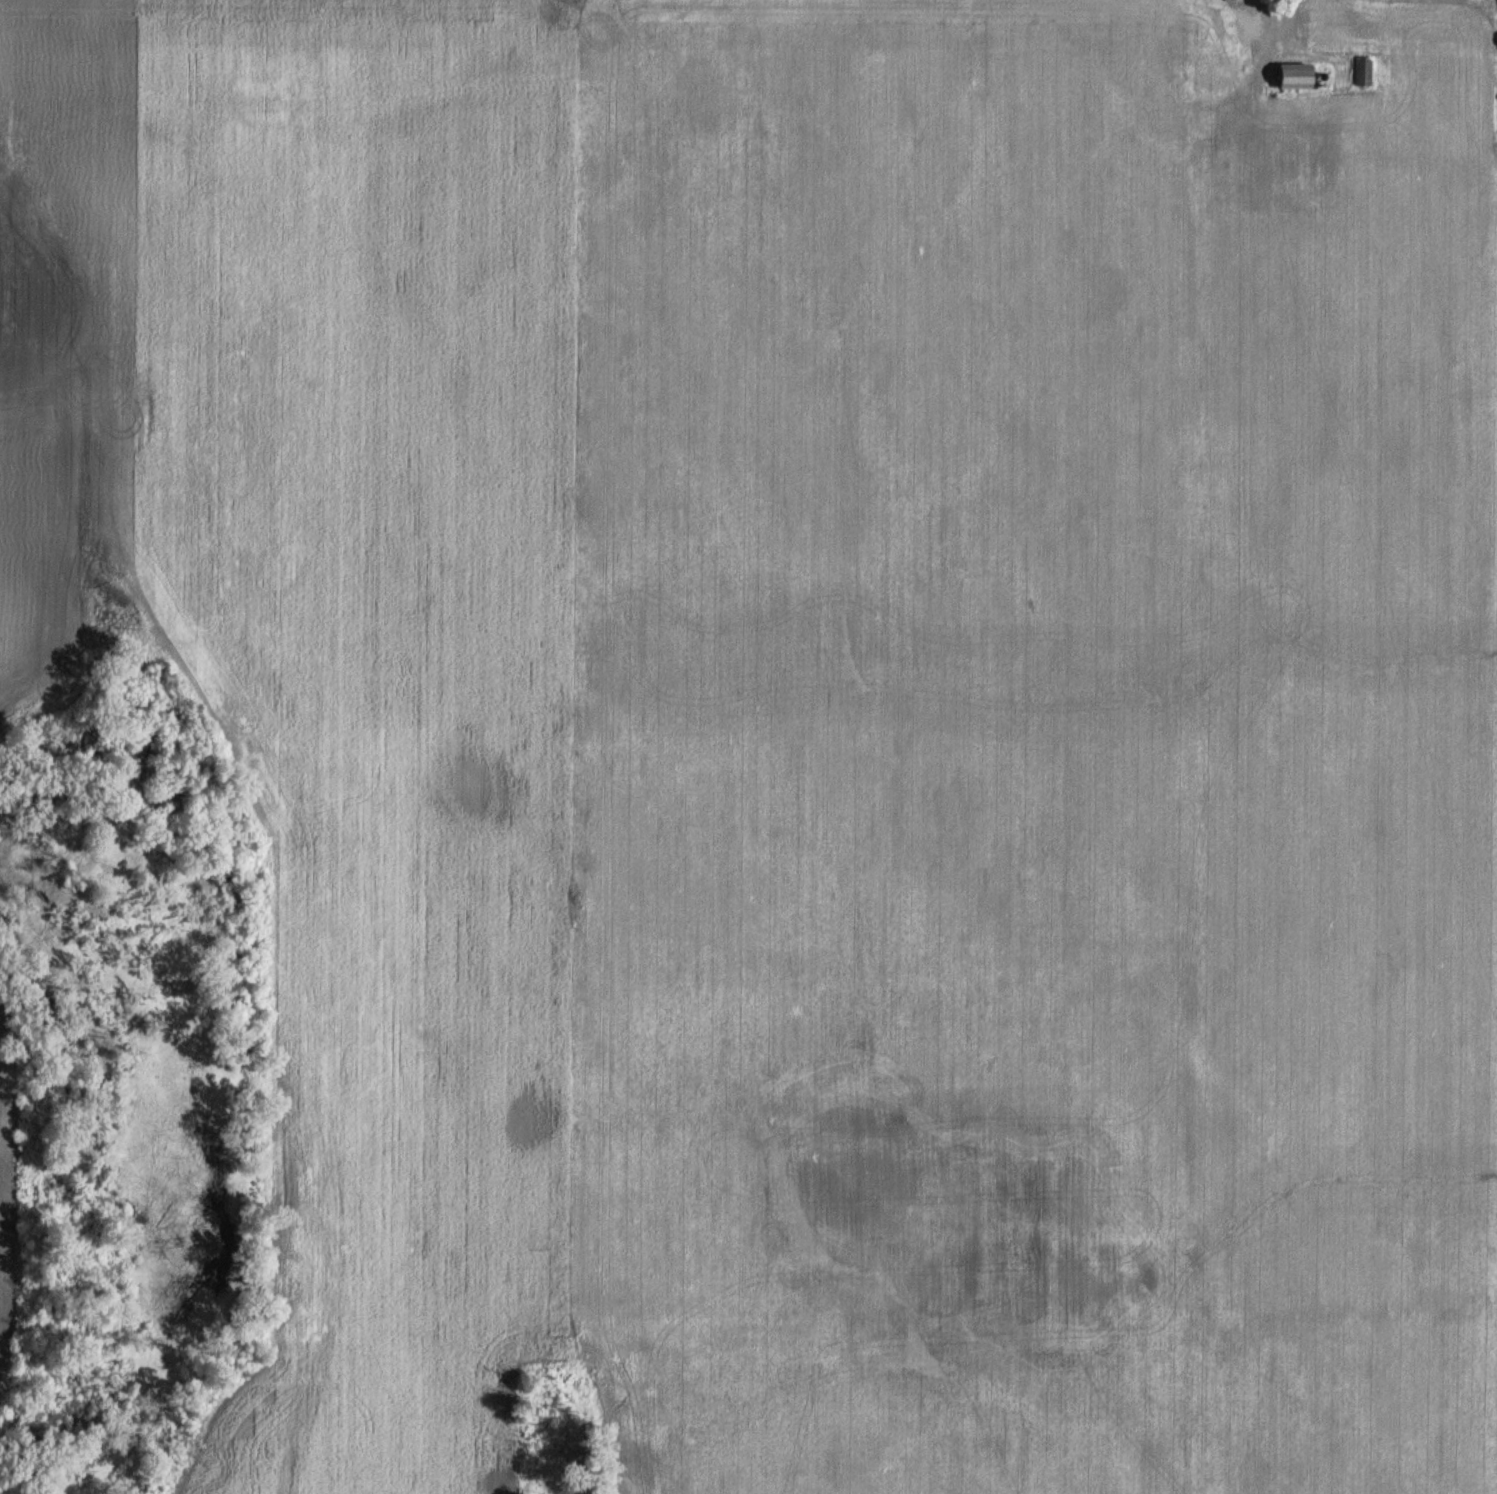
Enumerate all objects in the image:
building: (1250, 20)
building: (1364, 71)
building: (1300, 76)

